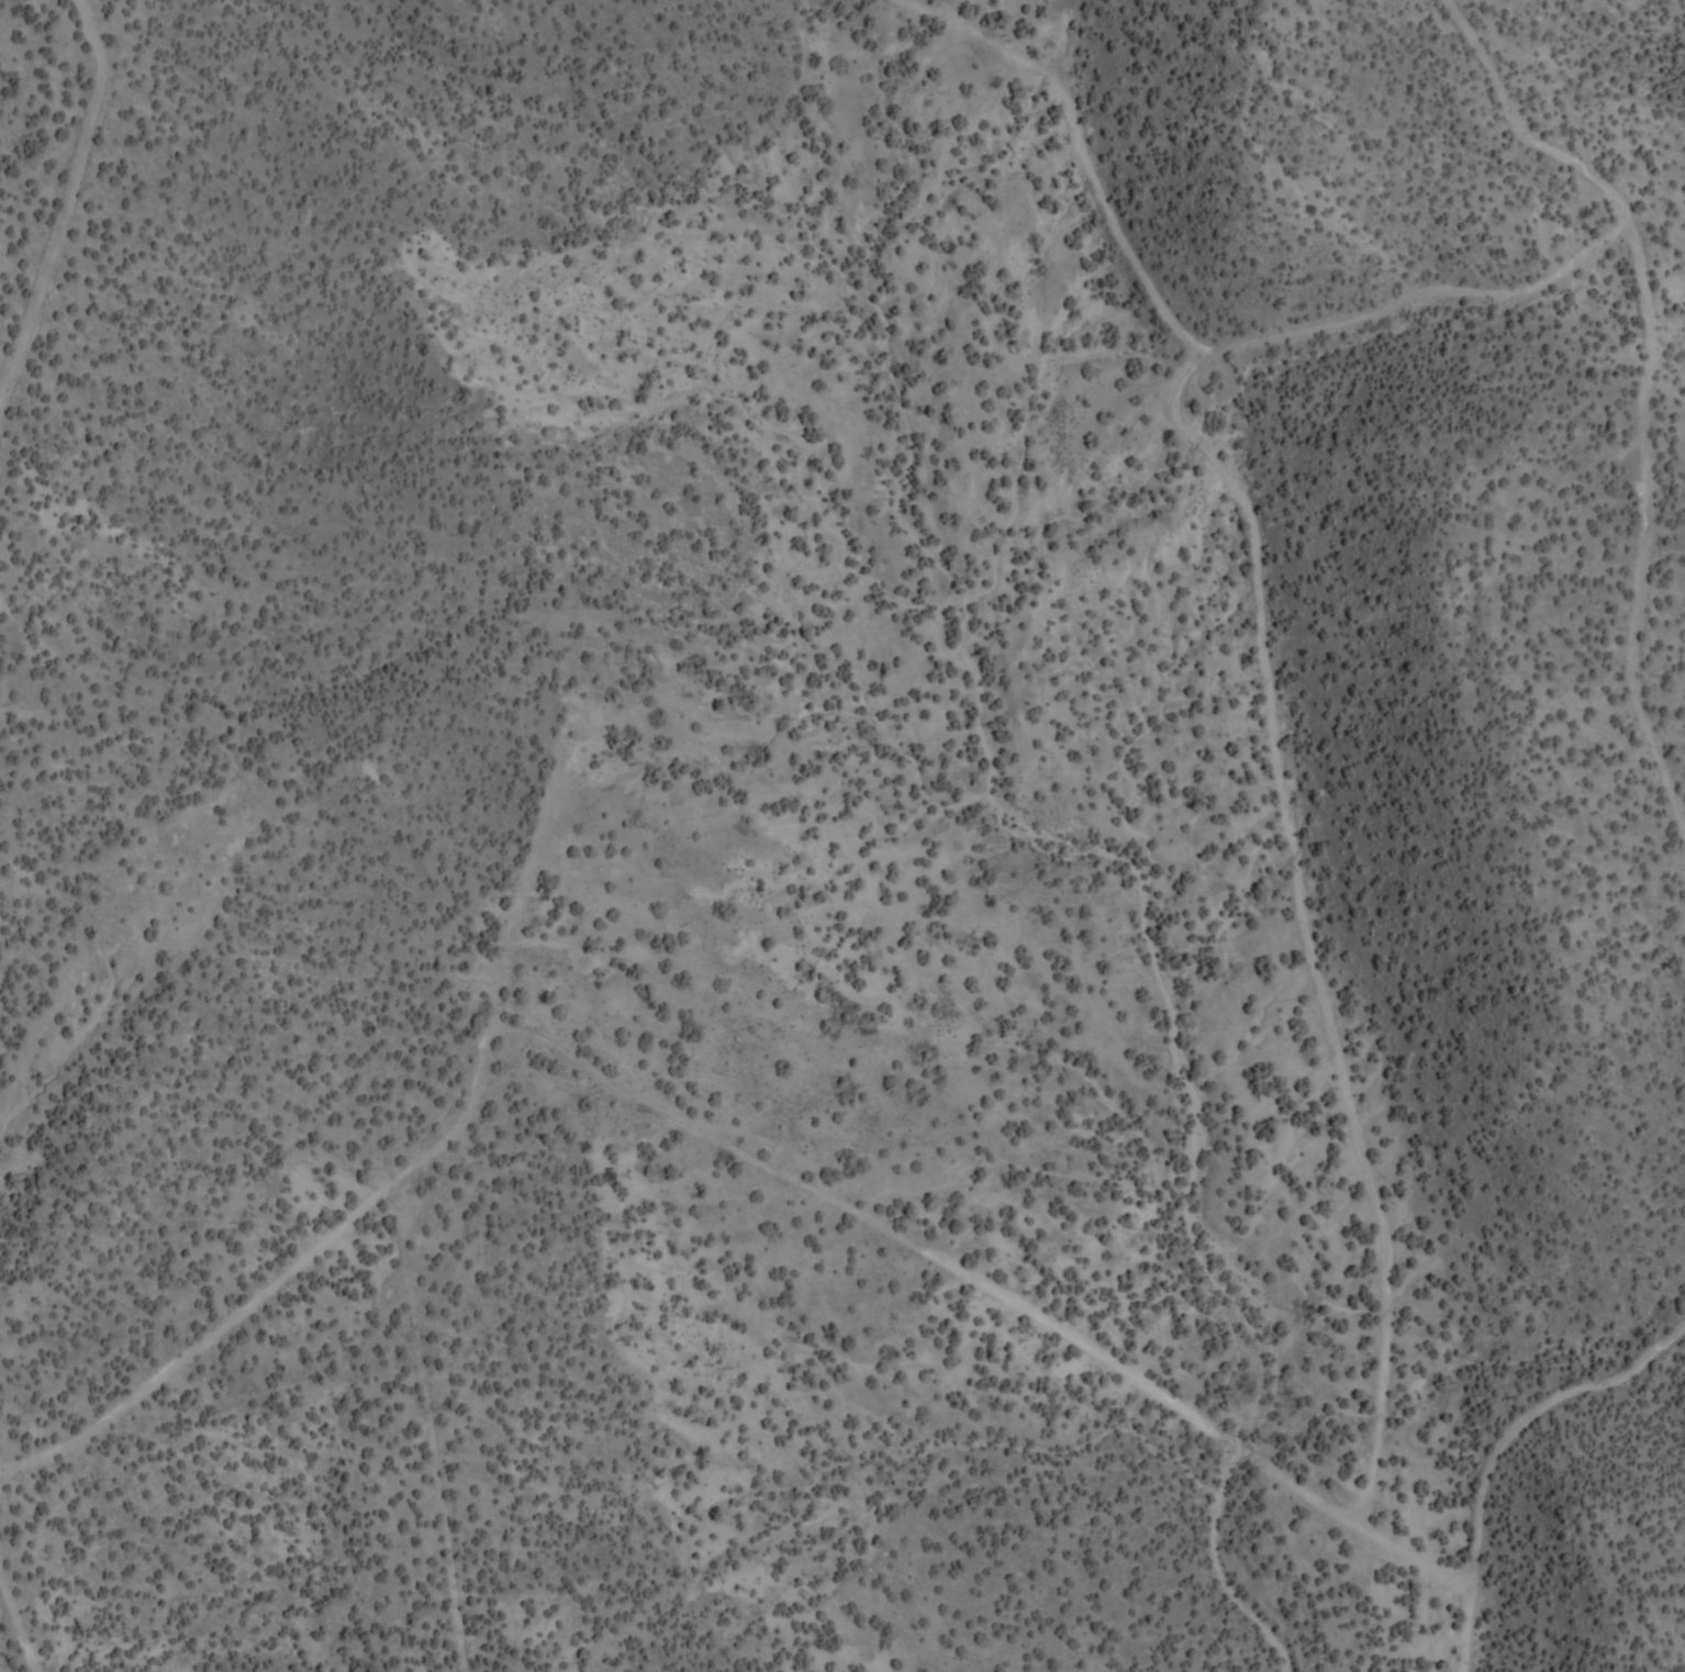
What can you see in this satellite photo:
road: (57, 209)
road: (1219, 713)
road: (651, 1121)
road: (1437, 1576)

